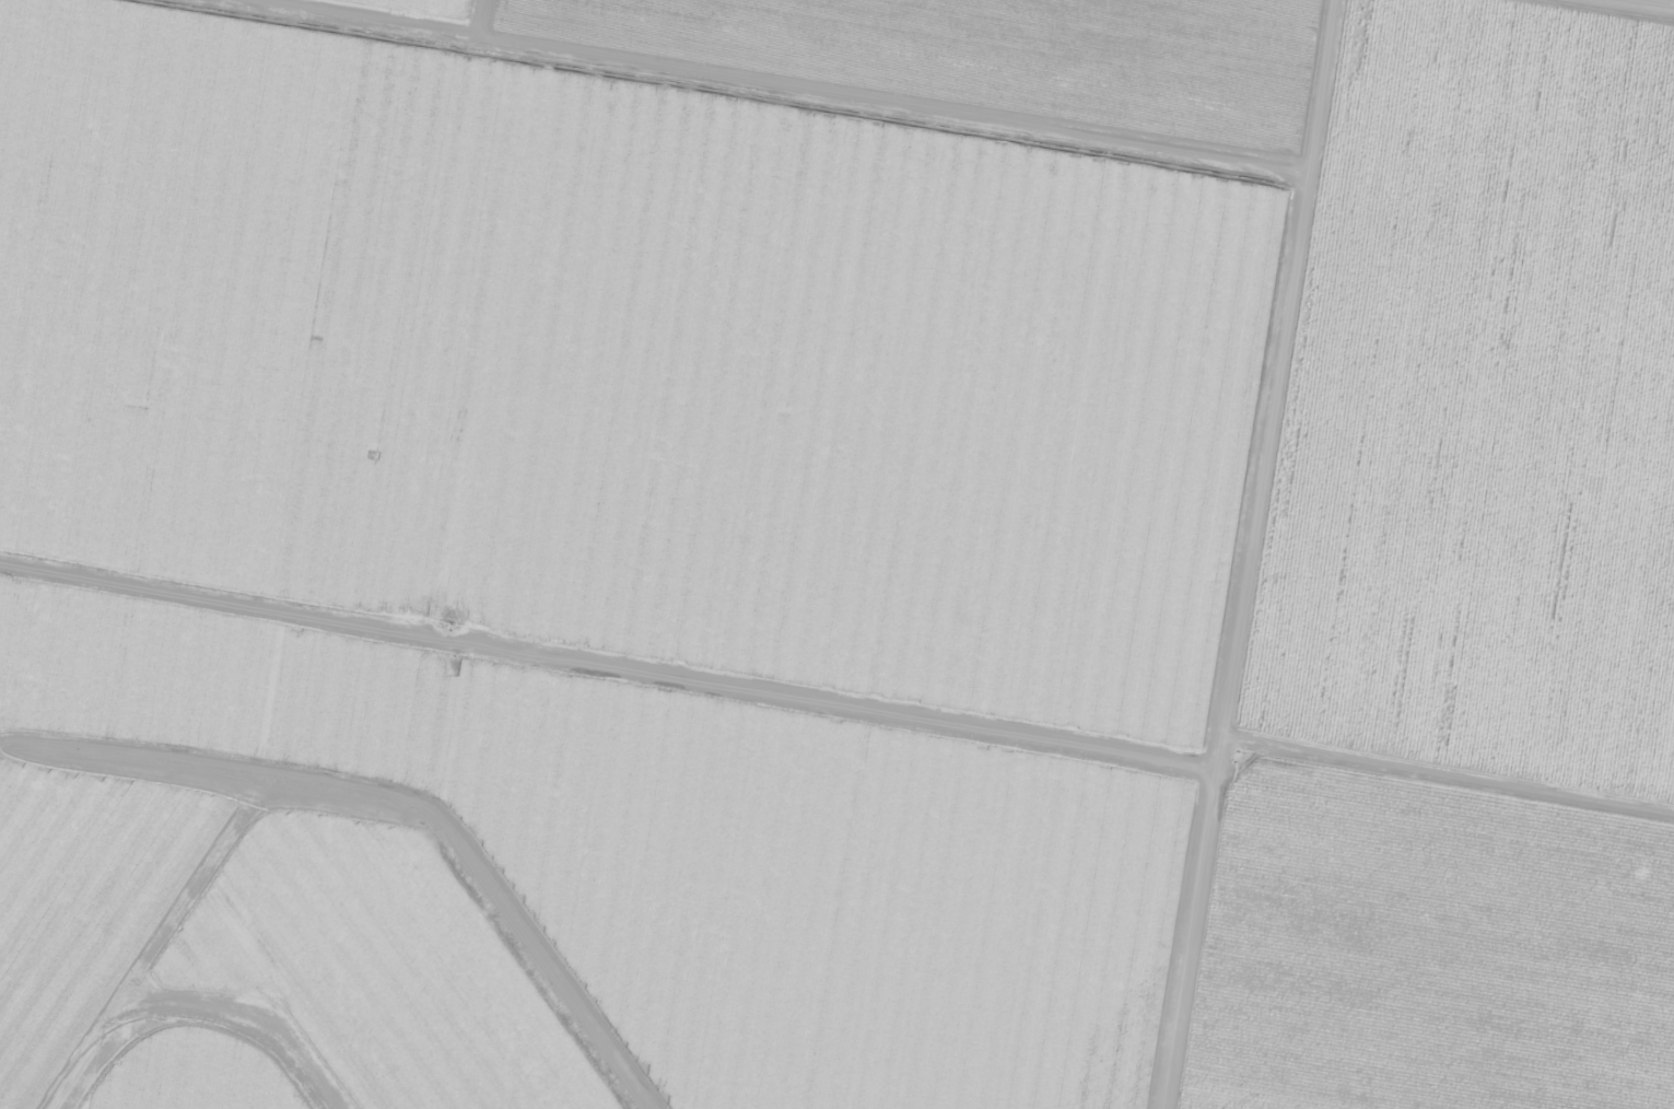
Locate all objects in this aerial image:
road: (1634, 5)
road: (646, 289)
road: (1272, 556)
road: (618, 639)

